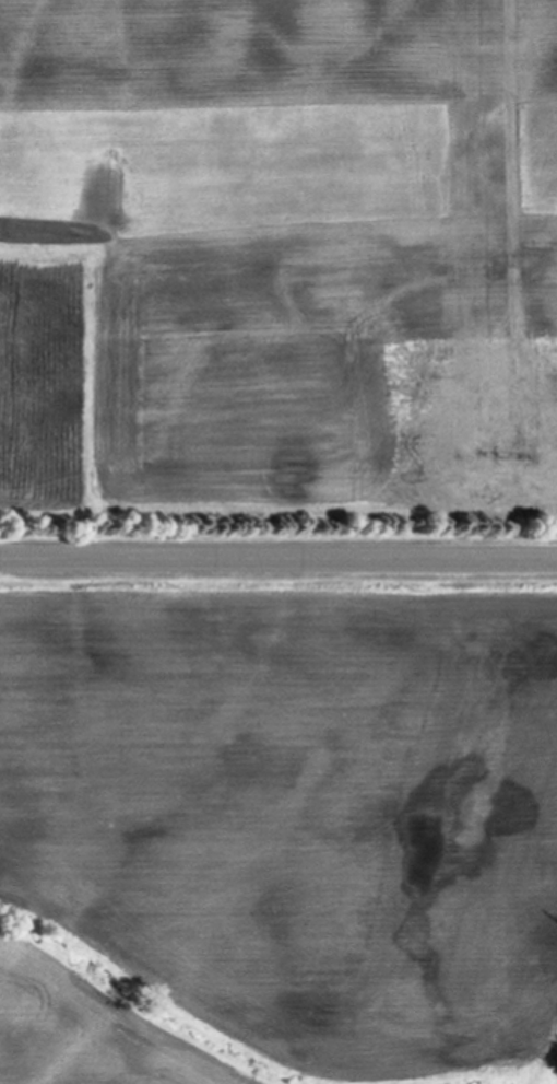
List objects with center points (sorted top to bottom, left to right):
road: (278, 559)

